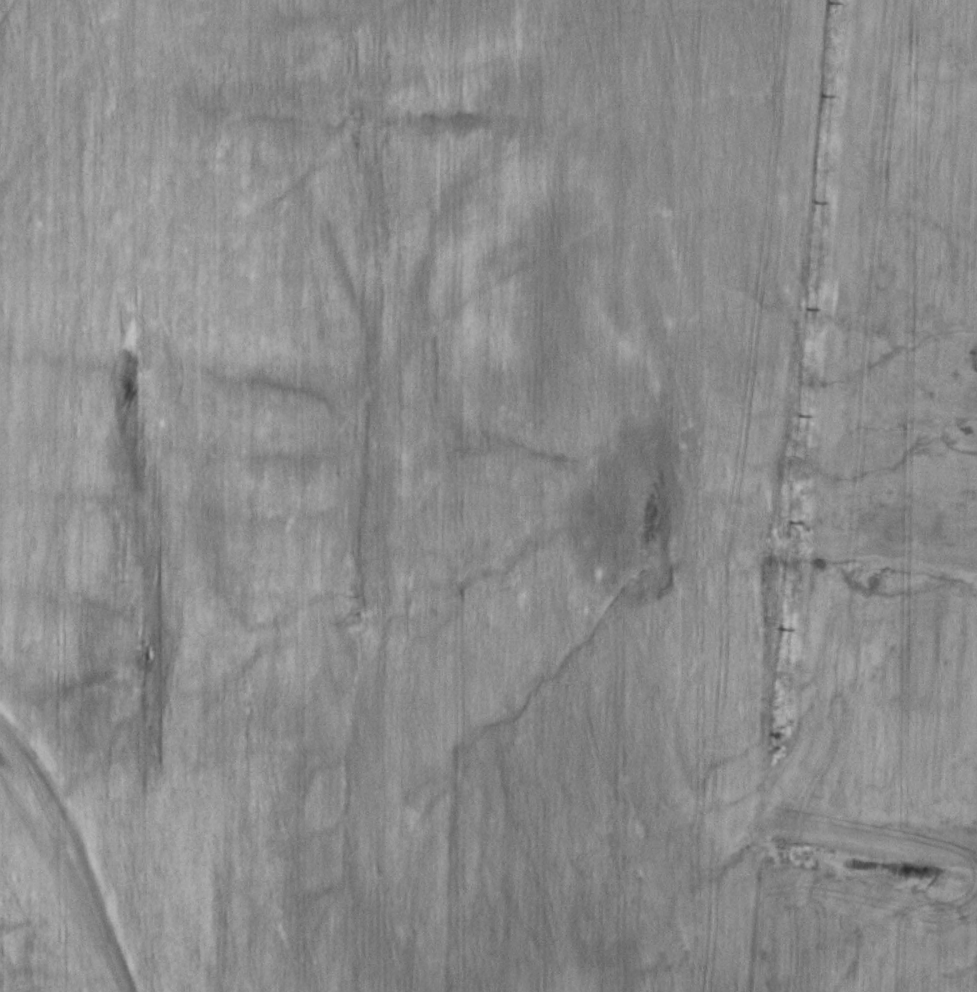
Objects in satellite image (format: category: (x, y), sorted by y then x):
road: (74, 865)

